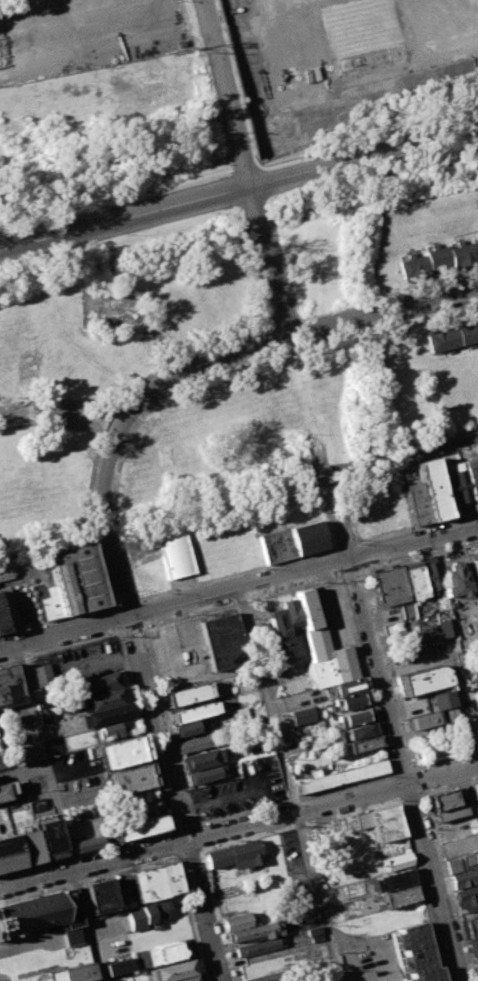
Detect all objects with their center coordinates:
road: (245, 166)
road: (238, 185)
building: (437, 259)
road: (283, 335)
building: (451, 336)
road: (60, 412)
road: (91, 472)
building: (472, 479)
building: (459, 487)
building: (433, 488)
building: (416, 502)
building: (306, 537)
building: (275, 545)
building: (174, 553)
building: (474, 570)
road: (239, 572)
building: (429, 574)
building: (76, 577)
building: (454, 581)
building: (413, 582)
building: (389, 586)
road: (239, 587)
parking lot: (26, 589)
road: (239, 602)
building: (49, 603)
building: (305, 608)
building: (405, 610)
building: (477, 614)
building: (290, 615)
road: (114, 619)
building: (2, 623)
building: (444, 626)
building: (277, 632)
building: (414, 637)
building: (221, 641)
building: (325, 659)
building: (85, 660)
building: (42, 674)
road: (364, 676)
building: (422, 679)
building: (99, 682)
building: (10, 686)
building: (345, 686)
building: (188, 693)
building: (102, 698)
building: (442, 698)
road: (265, 699)
road: (398, 699)
building: (350, 701)
road: (152, 706)
building: (44, 708)
building: (193, 711)
building: (108, 713)
building: (240, 713)
building: (301, 714)
building: (354, 716)
building: (423, 719)
road: (169, 726)
building: (187, 728)
building: (111, 730)
building: (360, 730)
road: (143, 731)
road: (393, 737)
building: (195, 742)
building: (363, 743)
building: (255, 748)
building: (121, 752)
road: (43, 756)
building: (202, 759)
road: (414, 768)
road: (416, 769)
road: (402, 770)
building: (205, 773)
building: (339, 775)
building: (130, 777)
road: (419, 780)
road: (393, 786)
parking lot: (240, 789)
building: (475, 790)
building: (2, 792)
road: (291, 798)
building: (442, 799)
building: (449, 812)
building: (362, 820)
building: (385, 823)
road: (239, 825)
road: (181, 827)
building: (136, 828)
building: (48, 836)
road: (198, 837)
road: (238, 839)
building: (86, 842)
road: (172, 842)
building: (27, 843)
road: (86, 852)
building: (9, 853)
building: (235, 855)
building: (475, 856)
building: (397, 863)
building: (454, 863)
building: (463, 878)
building: (395, 880)
building: (156, 881)
road: (447, 885)
road: (421, 888)
building: (399, 895)
building: (99, 896)
road: (316, 896)
building: (467, 899)
building: (69, 907)
road: (218, 913)
building: (30, 914)
building: (147, 914)
road: (191, 916)
building: (237, 921)
road: (86, 925)
building: (470, 925)
building: (54, 927)
building: (253, 933)
building: (315, 934)
building: (72, 936)
building: (413, 936)
road: (29, 942)
building: (260, 946)
building: (474, 947)
building: (160, 954)
building: (420, 958)
parking lot: (372, 959)
building: (476, 962)
building: (119, 966)
building: (176, 969)
building: (72, 973)
building: (429, 974)
building: (268, 976)
building: (189, 978)
building: (92, 979)

